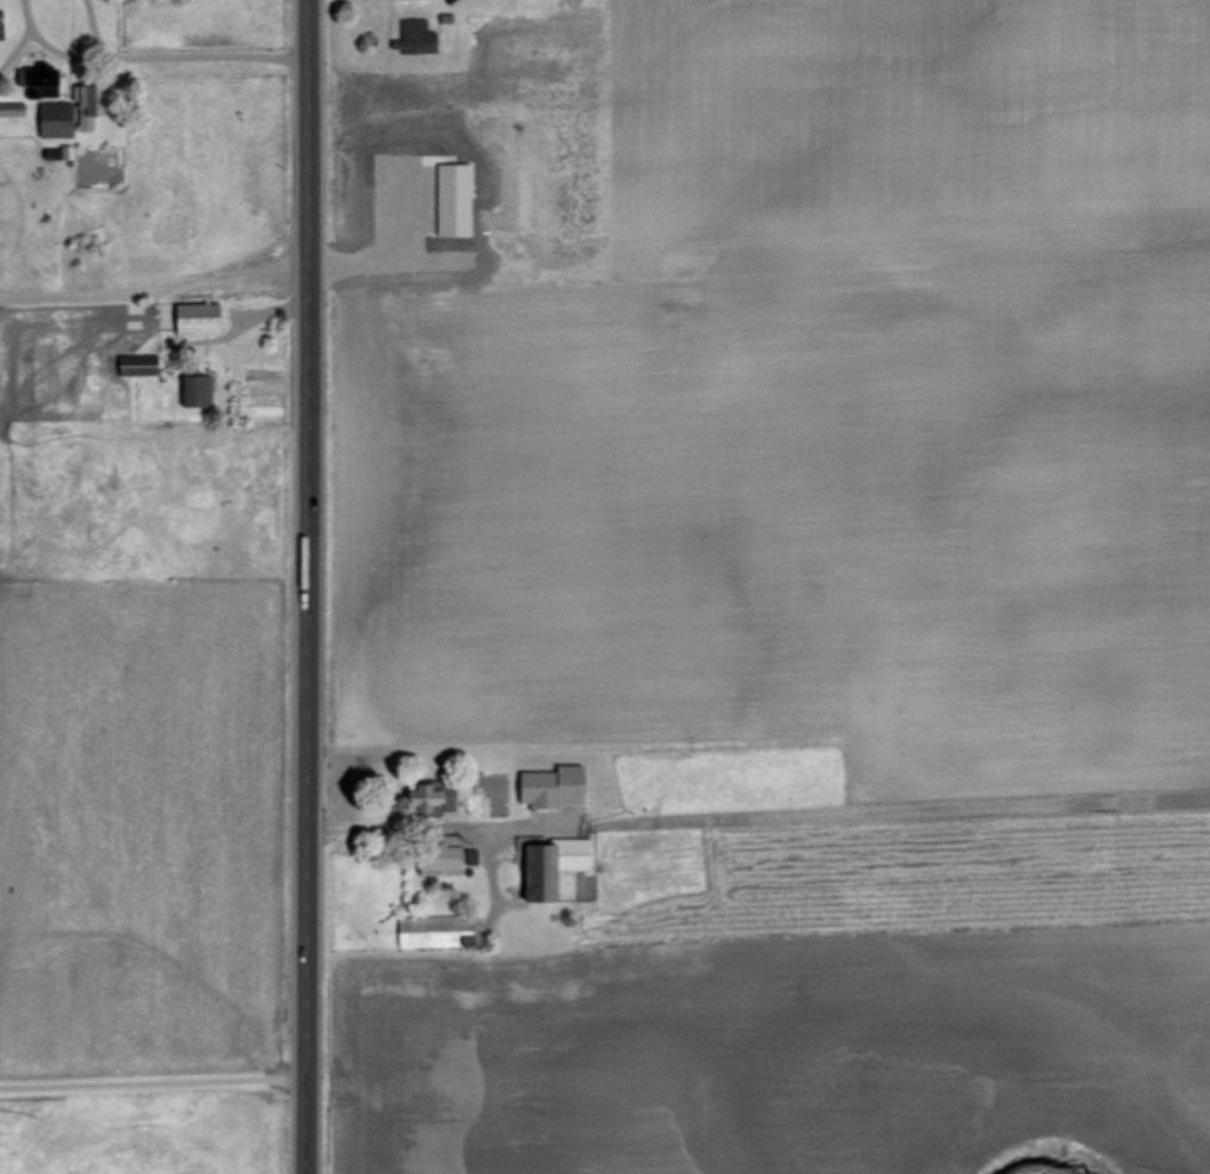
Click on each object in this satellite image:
building: (410, 33)
building: (0, 36)
road: (175, 56)
building: (35, 78)
building: (87, 101)
building: (11, 106)
building: (50, 117)
building: (450, 197)
road: (152, 285)
building: (193, 316)
building: (134, 362)
building: (192, 388)
road: (303, 587)
building: (548, 784)
building: (426, 797)
road: (427, 822)
building: (437, 854)
building: (468, 854)
building: (545, 861)
building: (432, 928)
road: (148, 1079)

